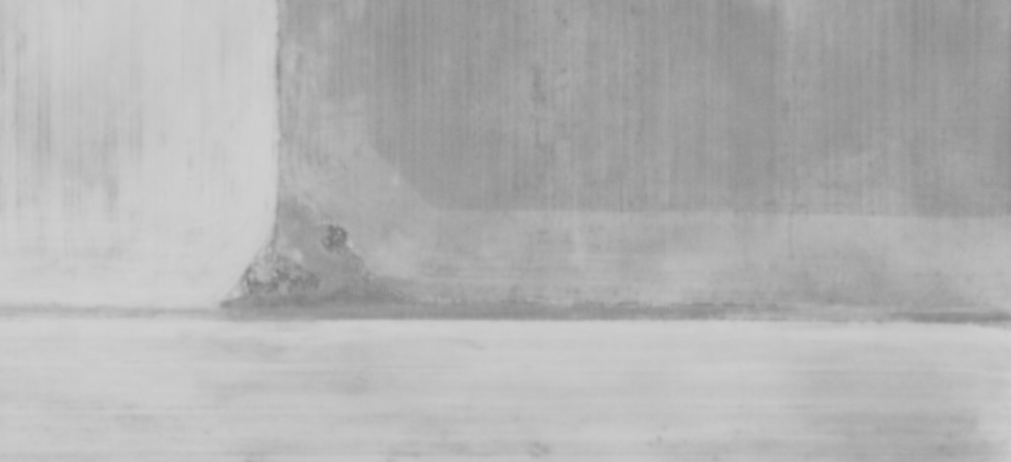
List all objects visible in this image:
road: (505, 315)

